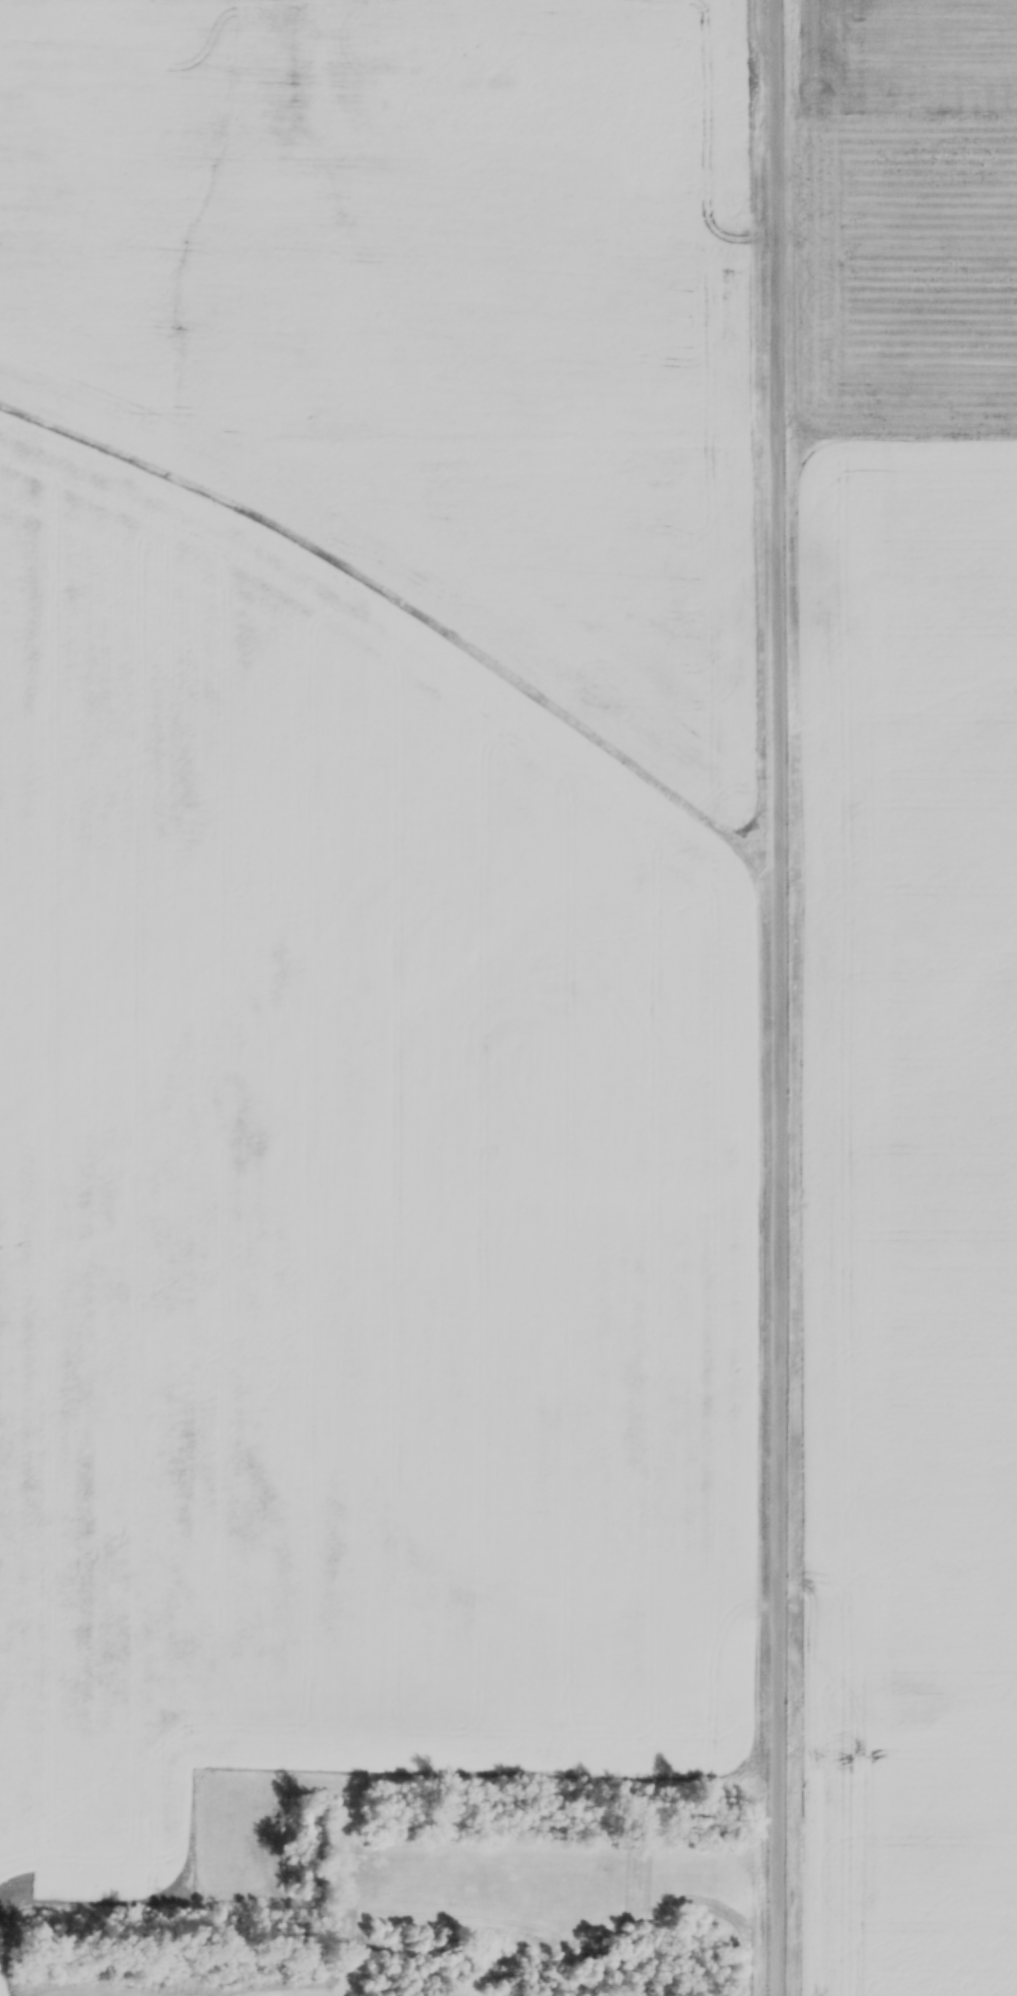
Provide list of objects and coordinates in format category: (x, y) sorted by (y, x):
road: (780, 997)

